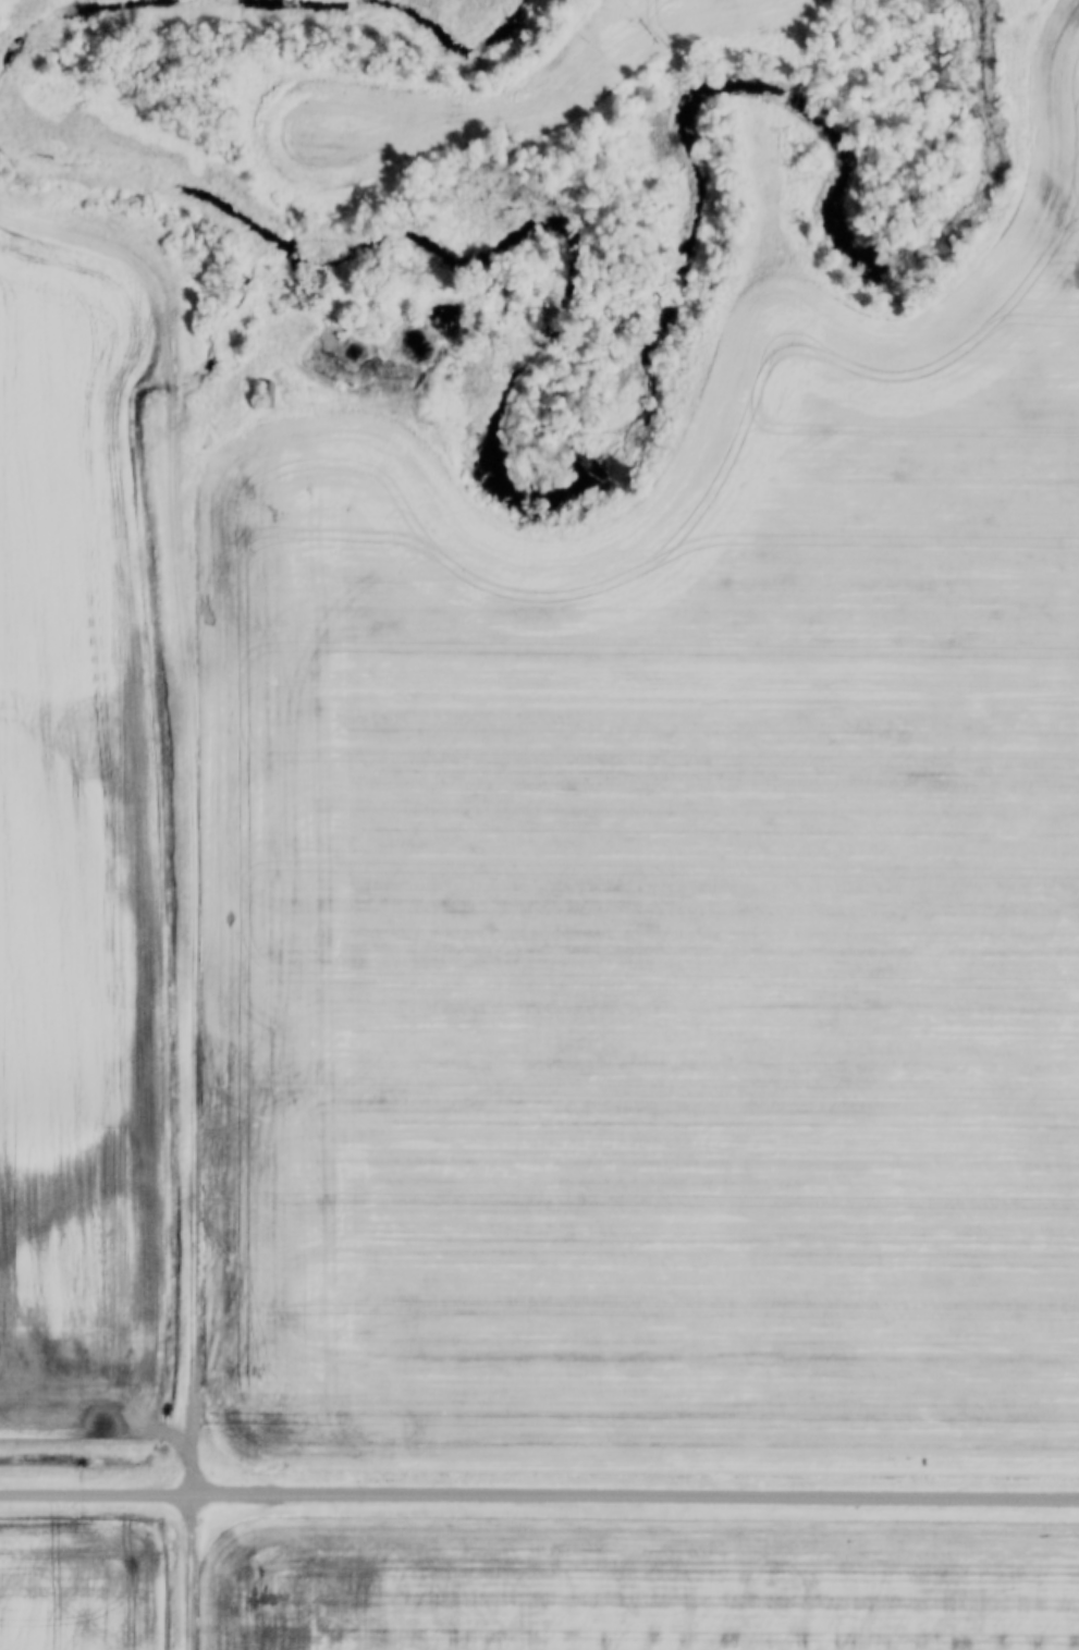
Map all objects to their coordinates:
building: (266, 393)
road: (194, 799)
road: (539, 1495)

